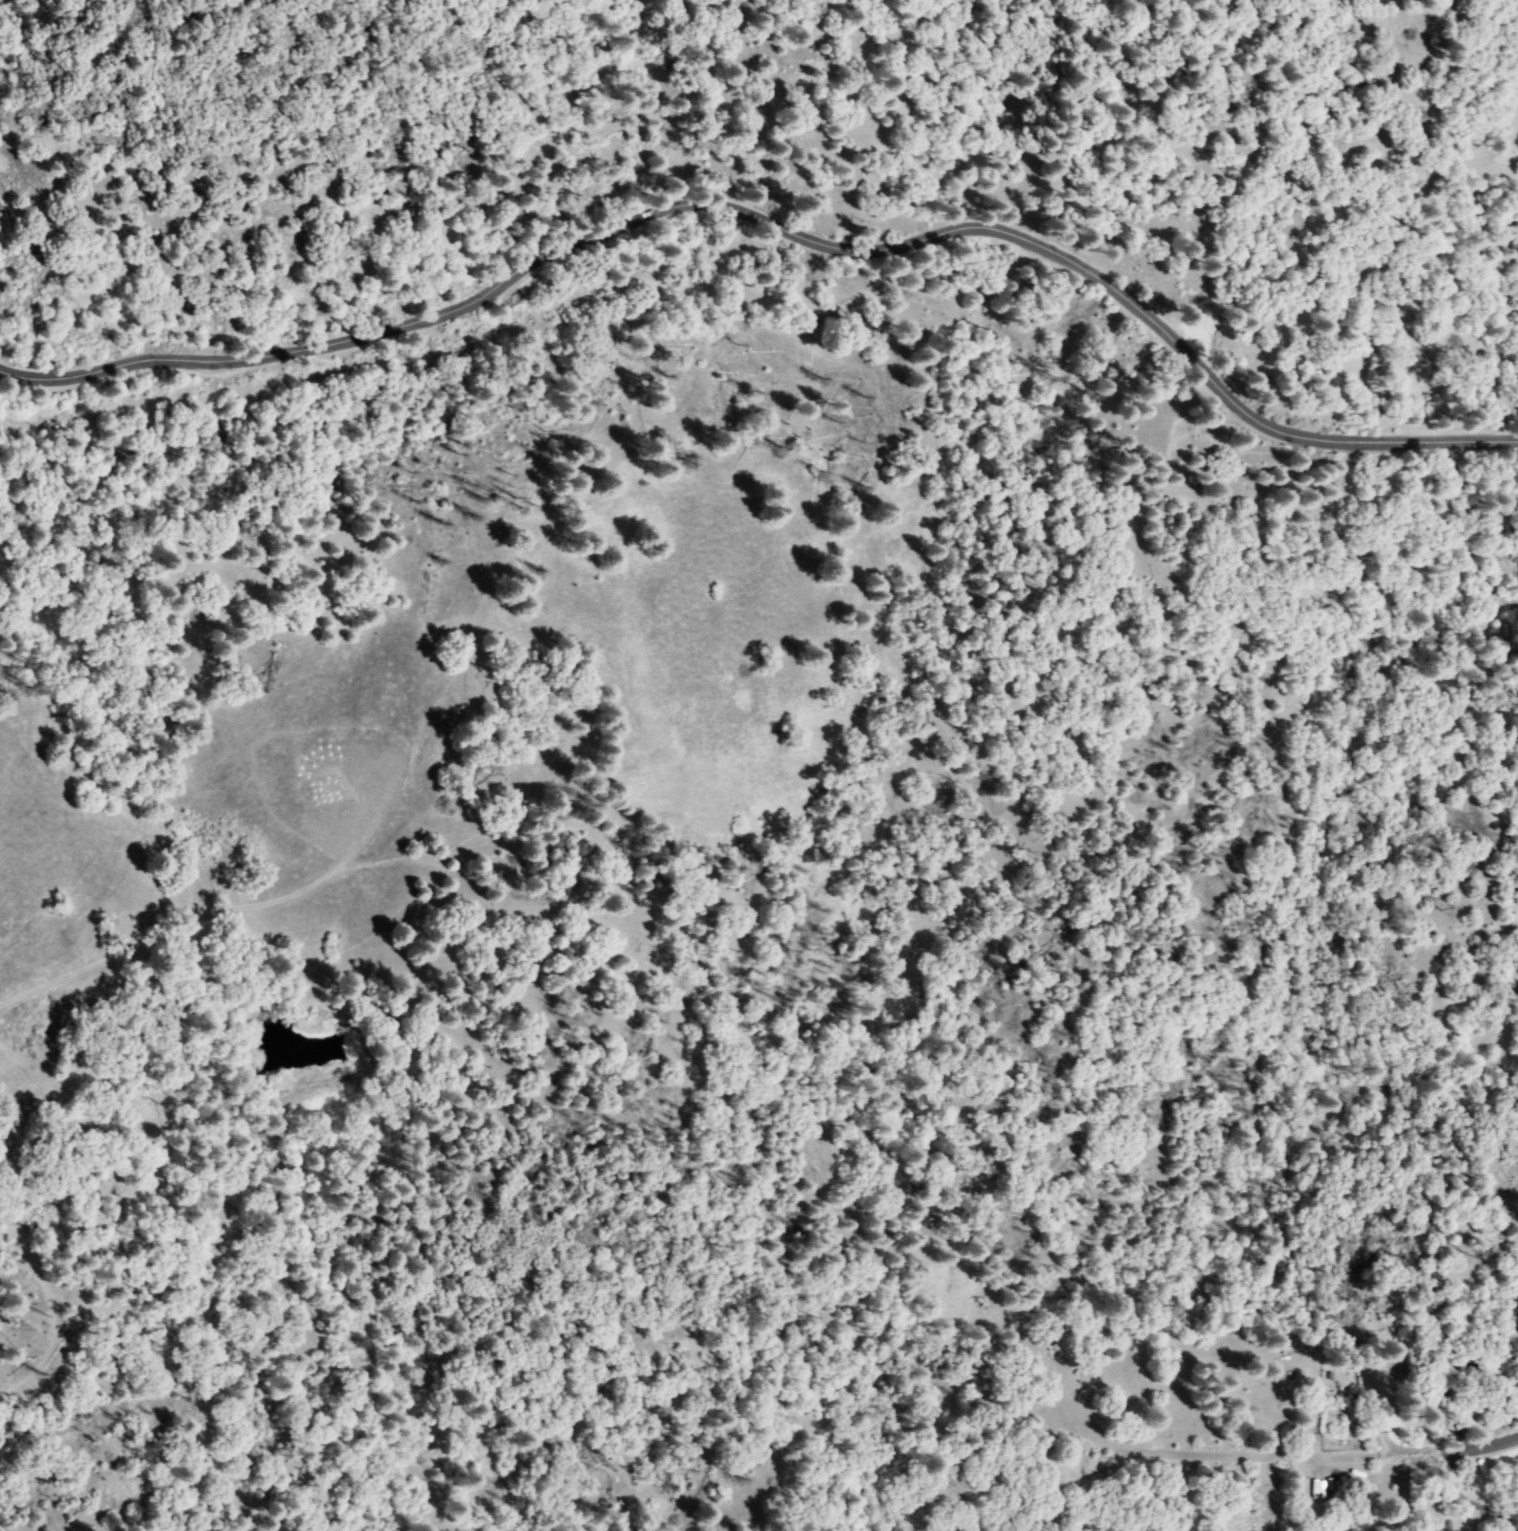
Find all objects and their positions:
road: (777, 230)
building: (1516, 537)
building: (1515, 630)
road: (328, 820)
building: (1357, 1357)
building: (1501, 1366)
building: (1395, 1369)

